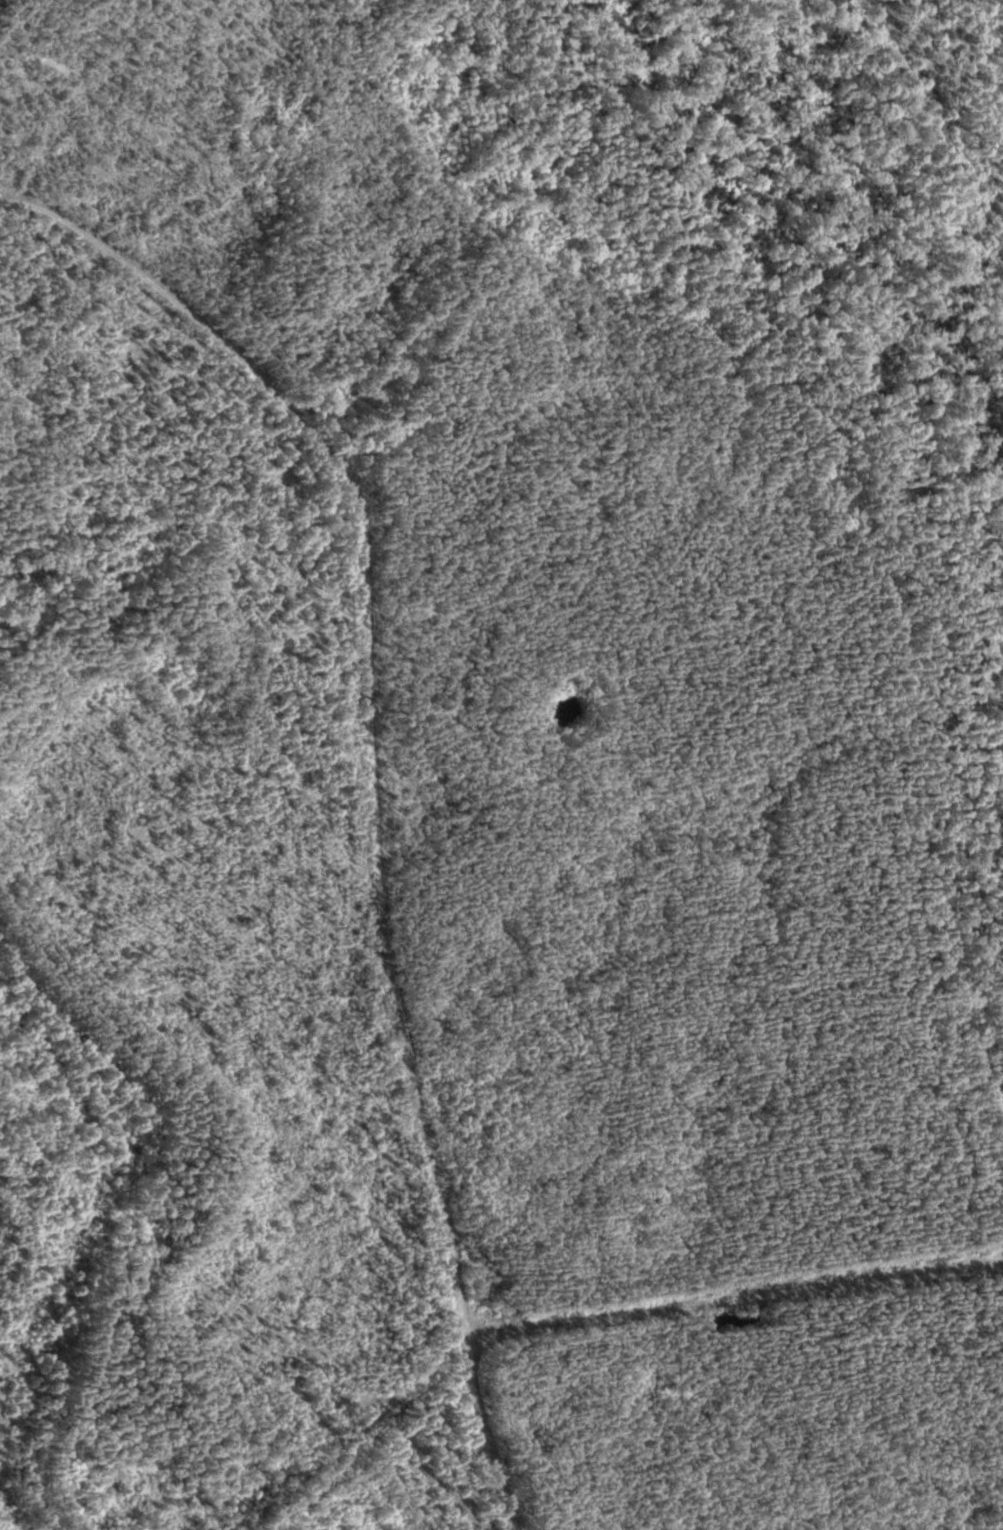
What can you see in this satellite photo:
road: (366, 781)

